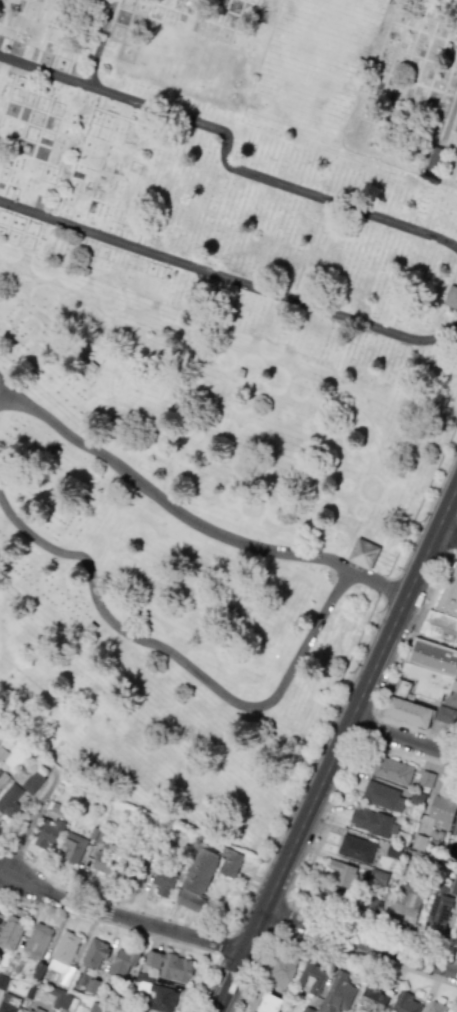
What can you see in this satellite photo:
road: (99, 42)
park: (280, 64)
road: (448, 116)
road: (226, 153)
building: (434, 160)
park: (230, 219)
road: (228, 280)
building: (451, 294)
road: (2, 391)
road: (445, 535)
park: (190, 545)
road: (454, 545)
building: (363, 551)
road: (374, 581)
building: (449, 596)
road: (319, 619)
building: (439, 626)
building: (433, 655)
road: (396, 669)
building: (427, 679)
building: (403, 683)
building: (407, 709)
building: (445, 714)
road: (402, 737)
road: (335, 746)
road: (411, 753)
building: (392, 767)
building: (426, 777)
building: (3, 779)
building: (32, 782)
building: (382, 794)
building: (416, 796)
building: (11, 799)
building: (443, 808)
road: (332, 810)
road: (33, 817)
building: (374, 820)
building: (455, 827)
building: (48, 832)
building: (419, 839)
building: (74, 844)
building: (356, 847)
building: (393, 851)
building: (104, 857)
building: (229, 863)
road: (30, 875)
building: (341, 875)
building: (376, 879)
building: (196, 880)
building: (163, 881)
building: (454, 883)
road: (240, 898)
building: (409, 899)
building: (370, 902)
building: (438, 909)
building: (0, 915)
road: (283, 915)
road: (120, 917)
road: (373, 931)
building: (10, 932)
building: (455, 934)
building: (37, 941)
road: (359, 941)
road: (218, 943)
building: (94, 953)
building: (64, 955)
road: (214, 956)
road: (368, 956)
road: (212, 958)
building: (122, 962)
building: (170, 966)
building: (283, 967)
road: (259, 969)
building: (311, 975)
building: (3, 981)
road: (200, 987)
building: (336, 991)
building: (159, 994)
building: (371, 996)
building: (269, 1001)
building: (407, 1003)
building: (8, 1005)
building: (435, 1006)
building: (306, 1009)
building: (28, 1010)

